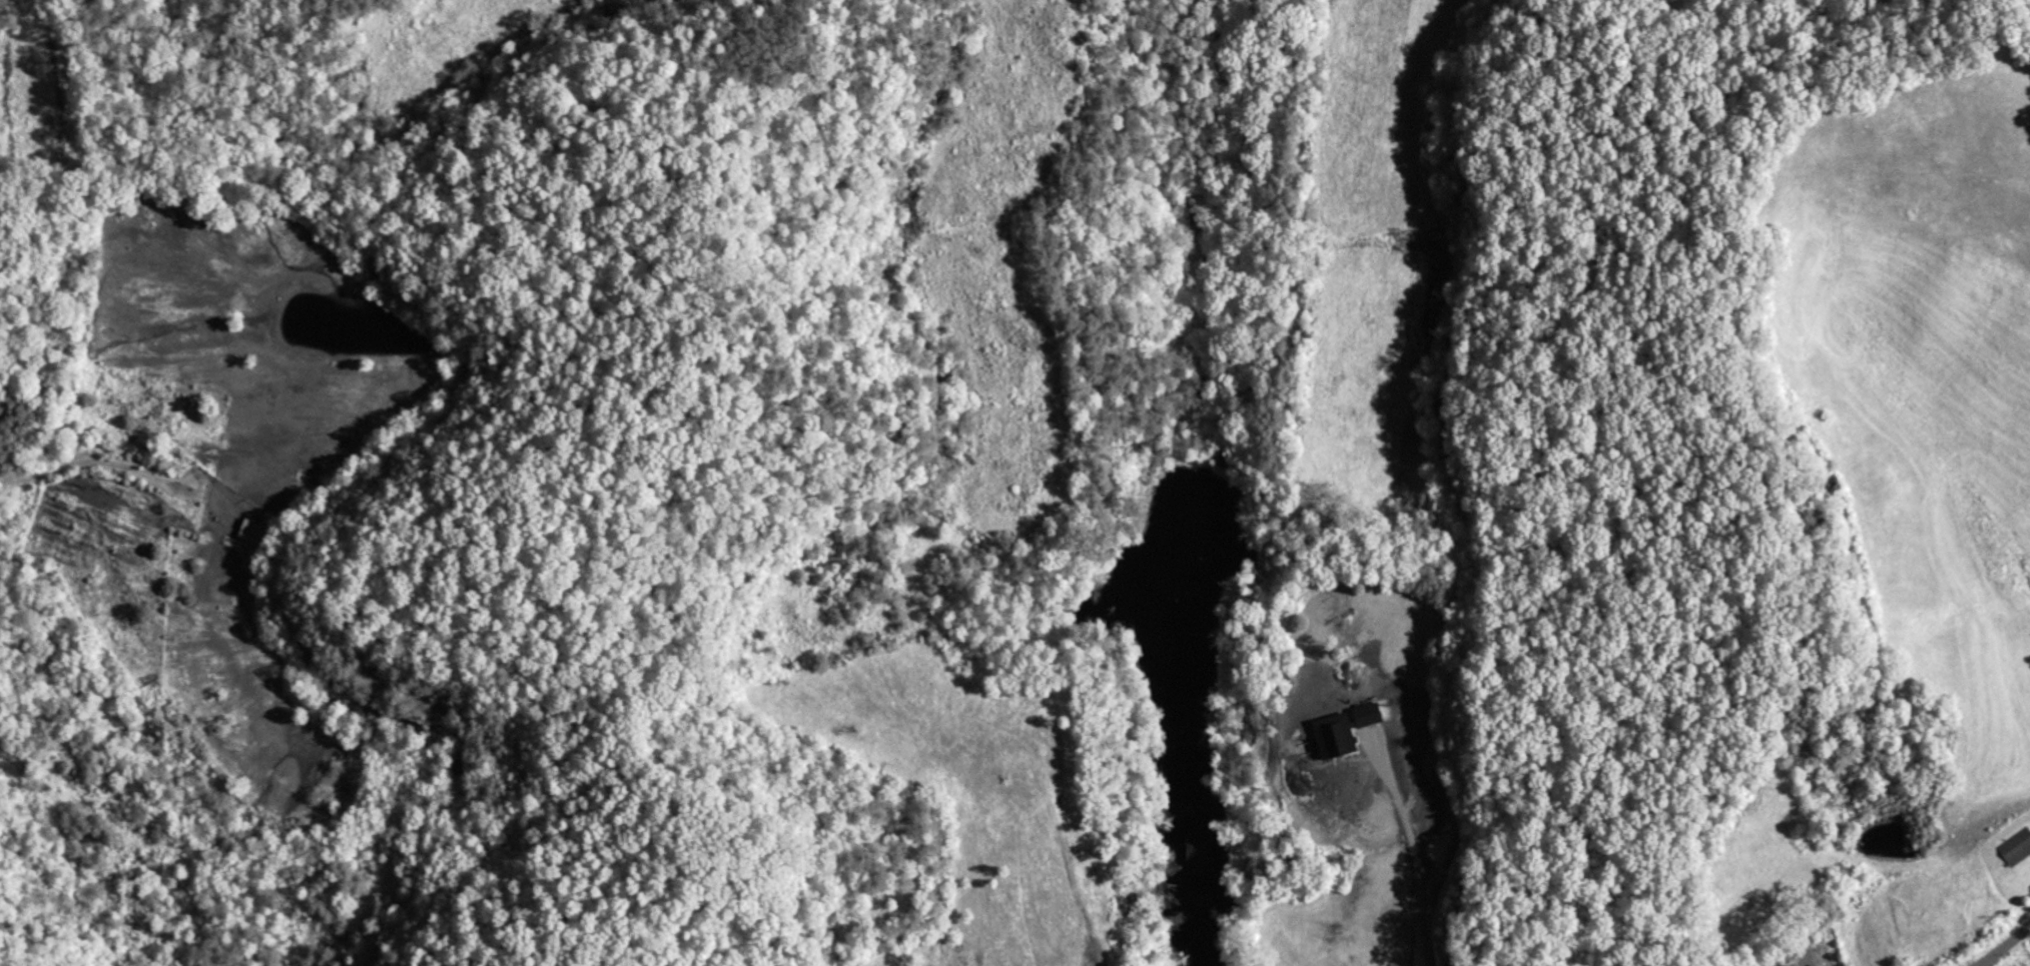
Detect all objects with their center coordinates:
building: (2016, 847)
road: (1375, 937)
road: (2007, 945)

